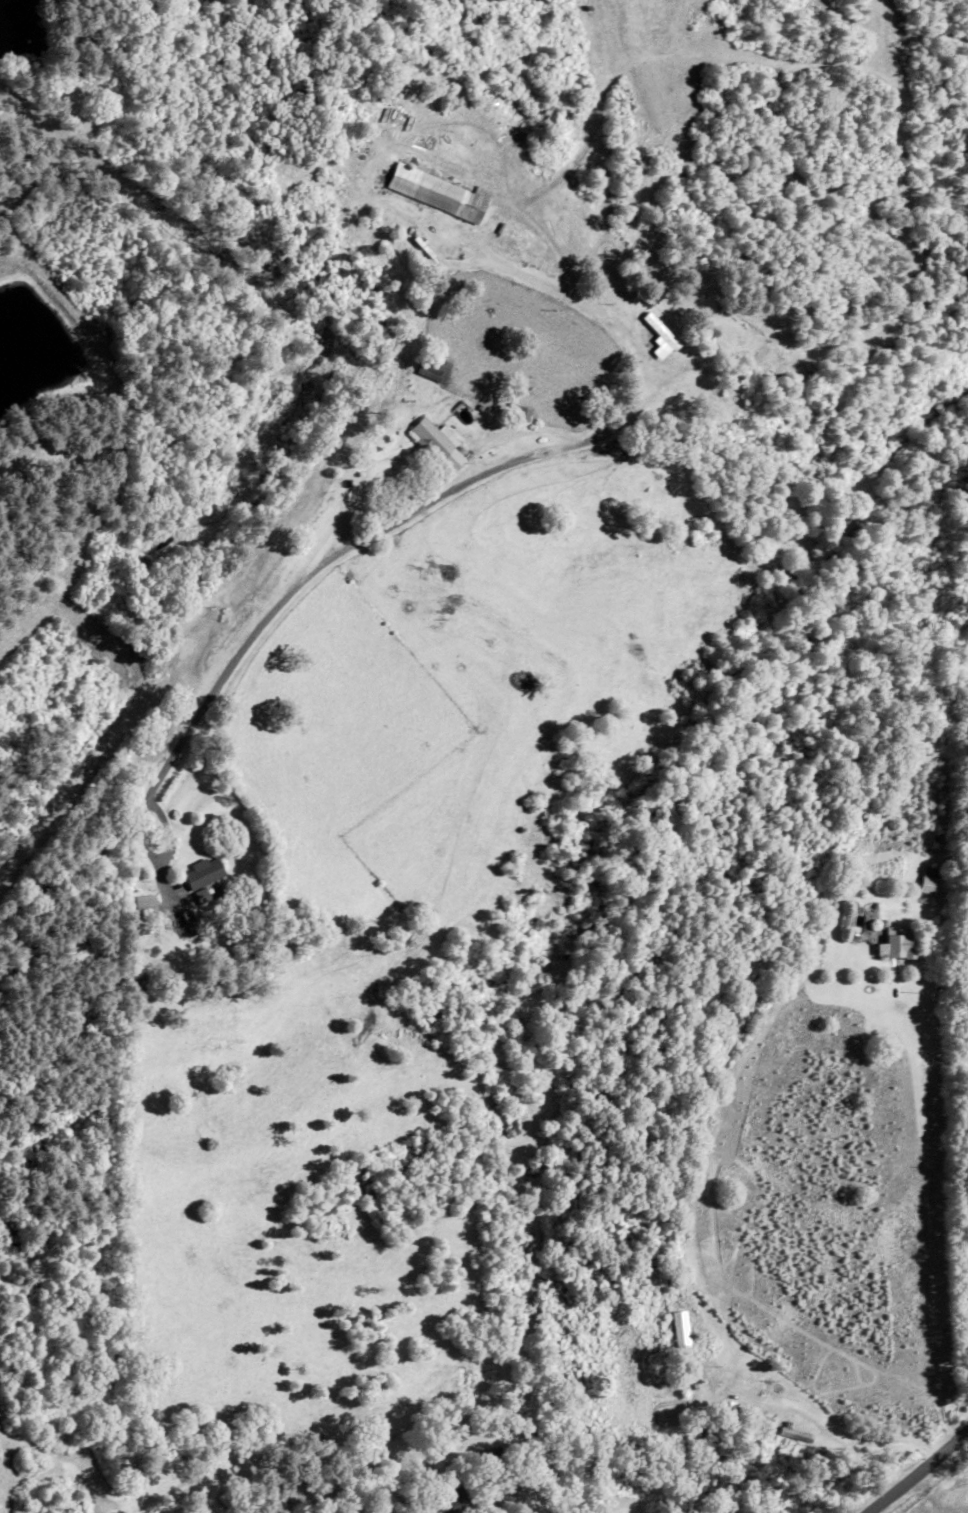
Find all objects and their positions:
road: (390, 92)
building: (434, 192)
building: (664, 327)
building: (435, 368)
building: (19, 426)
road: (259, 426)
building: (434, 437)
building: (0, 463)
road: (363, 540)
road: (439, 783)
building: (206, 874)
building: (934, 883)
building: (144, 907)
building: (191, 923)
building: (901, 944)
building: (740, 1415)
road: (921, 1475)
building: (449, 1502)
road: (503, 1504)

